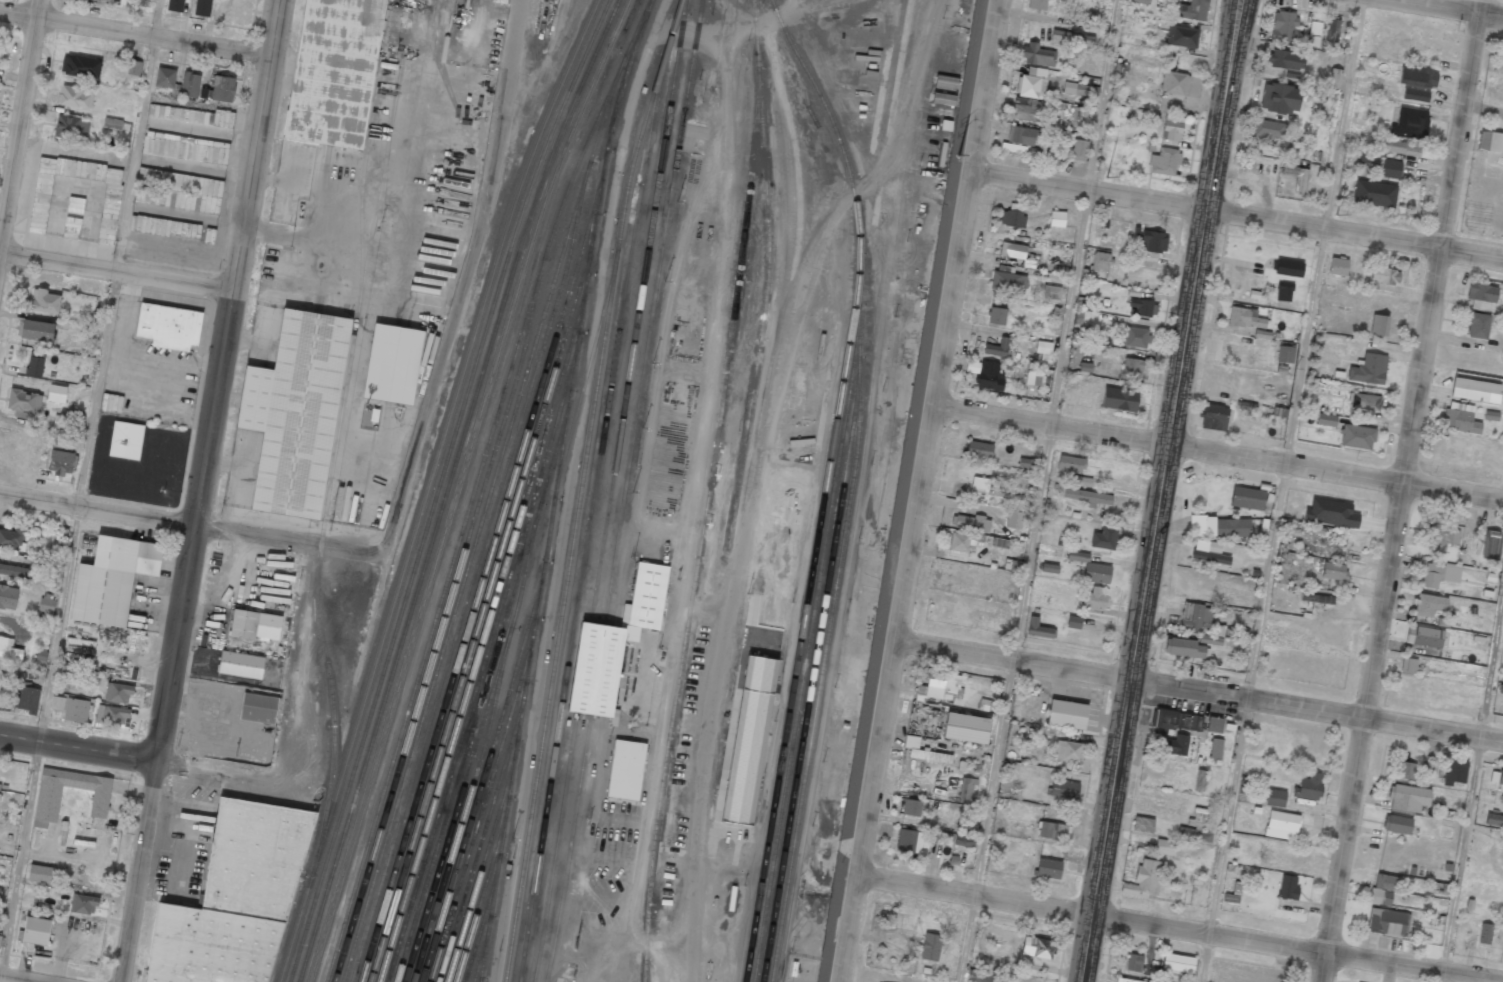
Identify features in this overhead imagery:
building: (390, 0)
building: (1139, 1)
building: (1037, 4)
building: (175, 5)
building: (202, 8)
road: (1446, 8)
building: (1193, 10)
road: (481, 23)
building: (1282, 26)
building: (1314, 28)
building: (1332, 30)
road: (137, 32)
building: (1181, 36)
building: (1072, 38)
building: (1036, 55)
building: (1283, 59)
building: (115, 60)
building: (80, 66)
building: (134, 67)
building: (335, 72)
railway: (607, 74)
building: (165, 77)
building: (1417, 77)
building: (1334, 78)
building: (1031, 83)
building: (1174, 83)
building: (188, 86)
building: (223, 89)
building: (1078, 89)
building: (205, 93)
building: (1415, 95)
building: (75, 96)
building: (1279, 98)
building: (1026, 110)
building: (192, 115)
building: (112, 124)
building: (1410, 124)
road: (19, 126)
building: (71, 128)
building: (1171, 128)
building: (1268, 129)
building: (1020, 135)
building: (1489, 141)
building: (185, 148)
building: (1012, 148)
building: (1402, 148)
building: (1078, 150)
power tower: (957, 156)
building: (1369, 159)
building: (1164, 162)
building: (1390, 169)
building: (1296, 176)
power tower: (1105, 177)
road: (277, 180)
building: (178, 190)
building: (1373, 193)
road: (334, 199)
road: (409, 204)
building: (75, 205)
building: (110, 206)
power tower: (1337, 215)
road: (1240, 217)
building: (1011, 218)
building: (1056, 219)
building: (71, 227)
building: (164, 227)
railway: (593, 236)
building: (1152, 242)
building: (1012, 250)
building: (1100, 261)
building: (1337, 266)
building: (1288, 268)
road: (117, 273)
building: (1383, 277)
building: (1008, 283)
building: (1050, 292)
building: (1283, 292)
building: (1481, 292)
railway: (520, 294)
building: (44, 301)
building: (1141, 307)
road: (463, 313)
building: (996, 316)
building: (1244, 318)
building: (1378, 325)
building: (168, 326)
building: (1477, 326)
road: (1066, 329)
building: (36, 330)
building: (1136, 337)
building: (996, 348)
road: (1303, 348)
building: (1285, 354)
road: (359, 357)
building: (35, 364)
building: (392, 364)
building: (1085, 367)
building: (1132, 368)
building: (1368, 369)
building: (1035, 375)
building: (989, 376)
road: (220, 381)
building: (1475, 390)
building: (56, 394)
building: (1119, 399)
building: (24, 401)
building: (1363, 401)
building: (111, 403)
building: (296, 412)
building: (1214, 417)
building: (1460, 417)
building: (1325, 419)
building: (60, 421)
building: (1357, 437)
building: (126, 440)
building: (978, 450)
road: (1218, 451)
building: (61, 462)
building: (1027, 463)
building: (1070, 463)
railway: (851, 484)
railway: (447, 486)
railway: (458, 486)
railway: (429, 487)
railway: (438, 487)
railway: (483, 487)
road: (79, 490)
railway: (624, 490)
road: (920, 490)
railway: (611, 491)
railway: (704, 491)
road: (1164, 491)
road: (1402, 491)
railway: (555, 493)
building: (990, 493)
building: (1087, 496)
building: (1247, 498)
building: (1330, 513)
road: (160, 519)
building: (1014, 519)
building: (970, 523)
railway: (589, 524)
railway: (480, 526)
building: (1226, 527)
building: (1444, 536)
building: (12, 537)
building: (1103, 538)
building: (958, 545)
building: (1490, 545)
building: (1210, 554)
building: (1078, 556)
building: (1048, 568)
building: (14, 571)
building: (1332, 571)
building: (1096, 573)
building: (1437, 575)
railway: (484, 576)
building: (112, 579)
railway: (472, 581)
railway: (435, 592)
building: (8, 597)
building: (1094, 598)
building: (1315, 599)
building: (46, 602)
building: (1429, 604)
railway: (482, 607)
building: (1194, 616)
railway: (803, 621)
building: (1073, 622)
building: (254, 625)
building: (1037, 629)
railway: (432, 630)
railway: (559, 634)
building: (1424, 636)
railway: (482, 639)
building: (1210, 640)
building: (614, 645)
building: (1184, 648)
building: (9, 649)
railway: (806, 651)
railway: (483, 661)
building: (240, 664)
building: (1409, 665)
railway: (812, 676)
building: (940, 687)
road: (1199, 689)
building: (117, 692)
railway: (482, 697)
building: (28, 698)
building: (57, 703)
building: (258, 708)
building: (75, 710)
building: (1066, 714)
building: (111, 716)
road: (286, 724)
building: (1214, 725)
building: (966, 728)
building: (749, 741)
building: (1172, 745)
building: (1215, 748)
road: (78, 749)
building: (923, 751)
building: (1072, 754)
railway: (514, 755)
building: (625, 770)
building: (1405, 770)
building: (1452, 771)
road: (995, 777)
building: (1496, 777)
building: (1199, 780)
railway: (481, 784)
building: (1308, 787)
building: (1063, 789)
building: (966, 790)
building: (1275, 798)
building: (1408, 798)
road: (1472, 799)
building: (47, 804)
building: (911, 807)
railway: (482, 812)
building: (1494, 819)
building: (1396, 824)
building: (1142, 825)
building: (1281, 825)
building: (82, 830)
building: (1053, 831)
building: (964, 834)
road: (1224, 839)
building: (908, 840)
railway: (481, 845)
building: (1164, 847)
building: (1047, 868)
road: (139, 872)
building: (41, 874)
railway: (480, 874)
building: (1144, 879)
building: (1287, 888)
building: (1384, 889)
building: (233, 898)
railway: (480, 899)
building: (83, 904)
building: (1387, 922)
railway: (481, 928)
road: (1177, 929)
building: (36, 930)
building: (1484, 933)
building: (0, 937)
road: (968, 939)
building: (930, 947)
building: (1037, 947)
railway: (481, 957)
building: (1134, 962)
building: (1178, 963)
building: (984, 976)
road: (13, 979)
building: (1126, 980)

